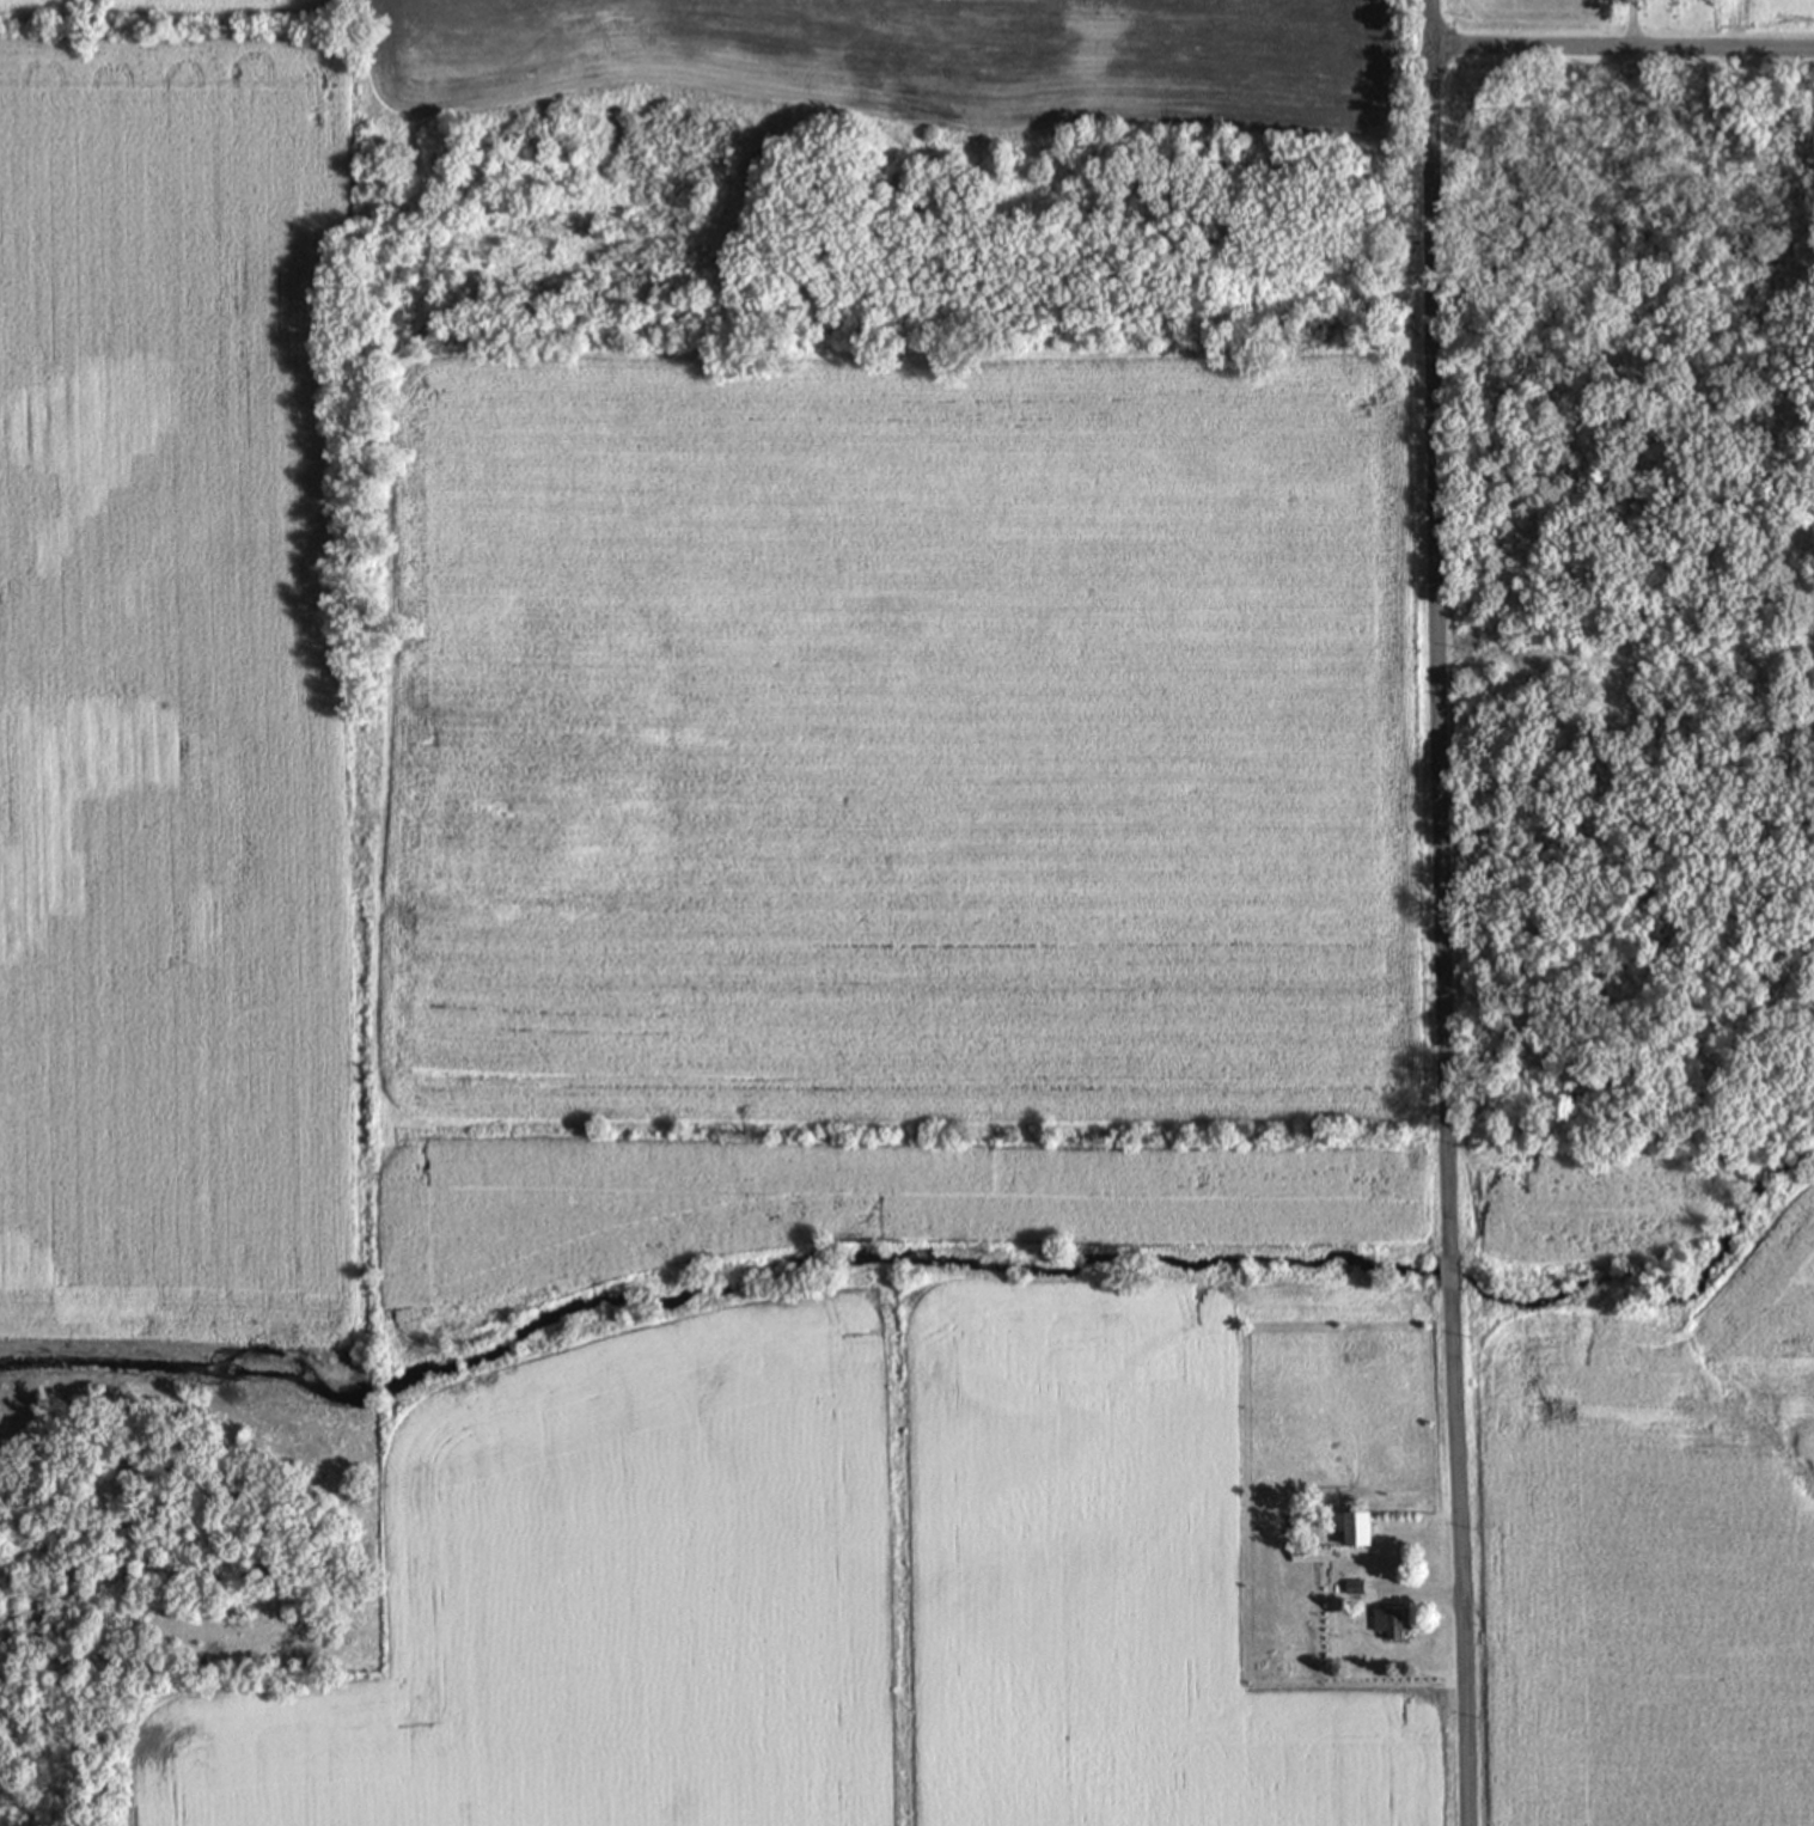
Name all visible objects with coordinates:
road: (1629, 23)
road: (1620, 45)
road: (1436, 628)
road: (1448, 1274)
building: (1350, 1527)
building: (1302, 1553)
road: (1459, 1557)
building: (1351, 1586)
road: (1417, 1590)
building: (1387, 1622)

